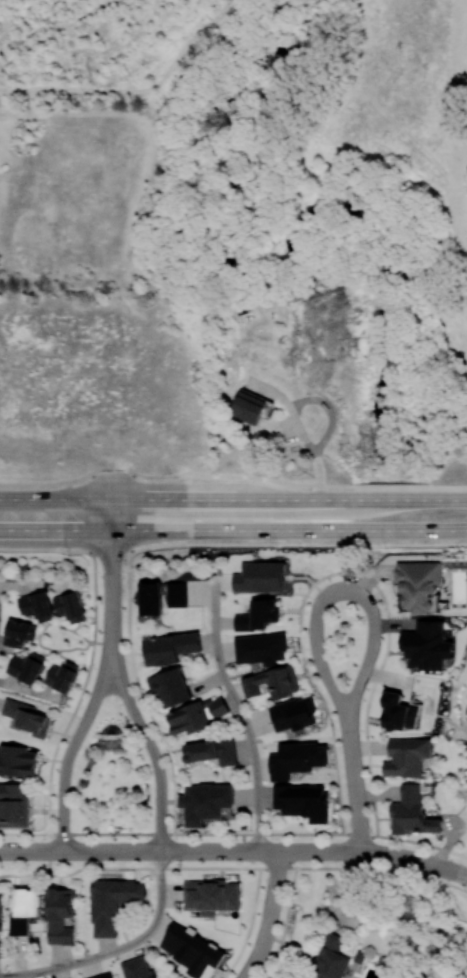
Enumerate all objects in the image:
park: (449, 231)
road: (270, 390)
building: (250, 407)
road: (329, 411)
road: (300, 429)
road: (319, 476)
road: (230, 477)
road: (233, 499)
road: (132, 513)
road: (110, 520)
road: (233, 529)
road: (232, 544)
park: (102, 565)
road: (345, 574)
road: (111, 580)
road: (34, 583)
building: (420, 584)
building: (161, 596)
road: (111, 602)
building: (37, 605)
building: (70, 606)
building: (259, 615)
road: (111, 625)
building: (19, 633)
road: (39, 635)
park: (343, 641)
road: (371, 645)
building: (427, 645)
building: (169, 648)
building: (261, 648)
road: (108, 651)
road: (317, 653)
road: (90, 658)
building: (27, 667)
building: (62, 676)
building: (272, 682)
building: (170, 688)
road: (28, 690)
road: (96, 694)
road: (142, 694)
building: (217, 706)
road: (240, 712)
building: (293, 713)
building: (399, 713)
building: (26, 717)
building: (188, 718)
park: (460, 724)
road: (145, 737)
building: (212, 751)
building: (407, 756)
building: (296, 758)
building: (17, 760)
park: (95, 769)
road: (62, 780)
road: (354, 786)
building: (303, 801)
building: (13, 805)
building: (412, 812)
road: (235, 833)
road: (122, 849)
road: (31, 850)
road: (73, 850)
road: (275, 850)
road: (422, 860)
road: (234, 867)
road: (460, 872)
building: (212, 896)
building: (112, 903)
building: (24, 909)
building: (1, 913)
building: (59, 915)
road: (269, 916)
park: (430, 918)
road: (252, 926)
road: (117, 949)
building: (192, 951)
building: (333, 959)
building: (138, 967)
building: (103, 975)

